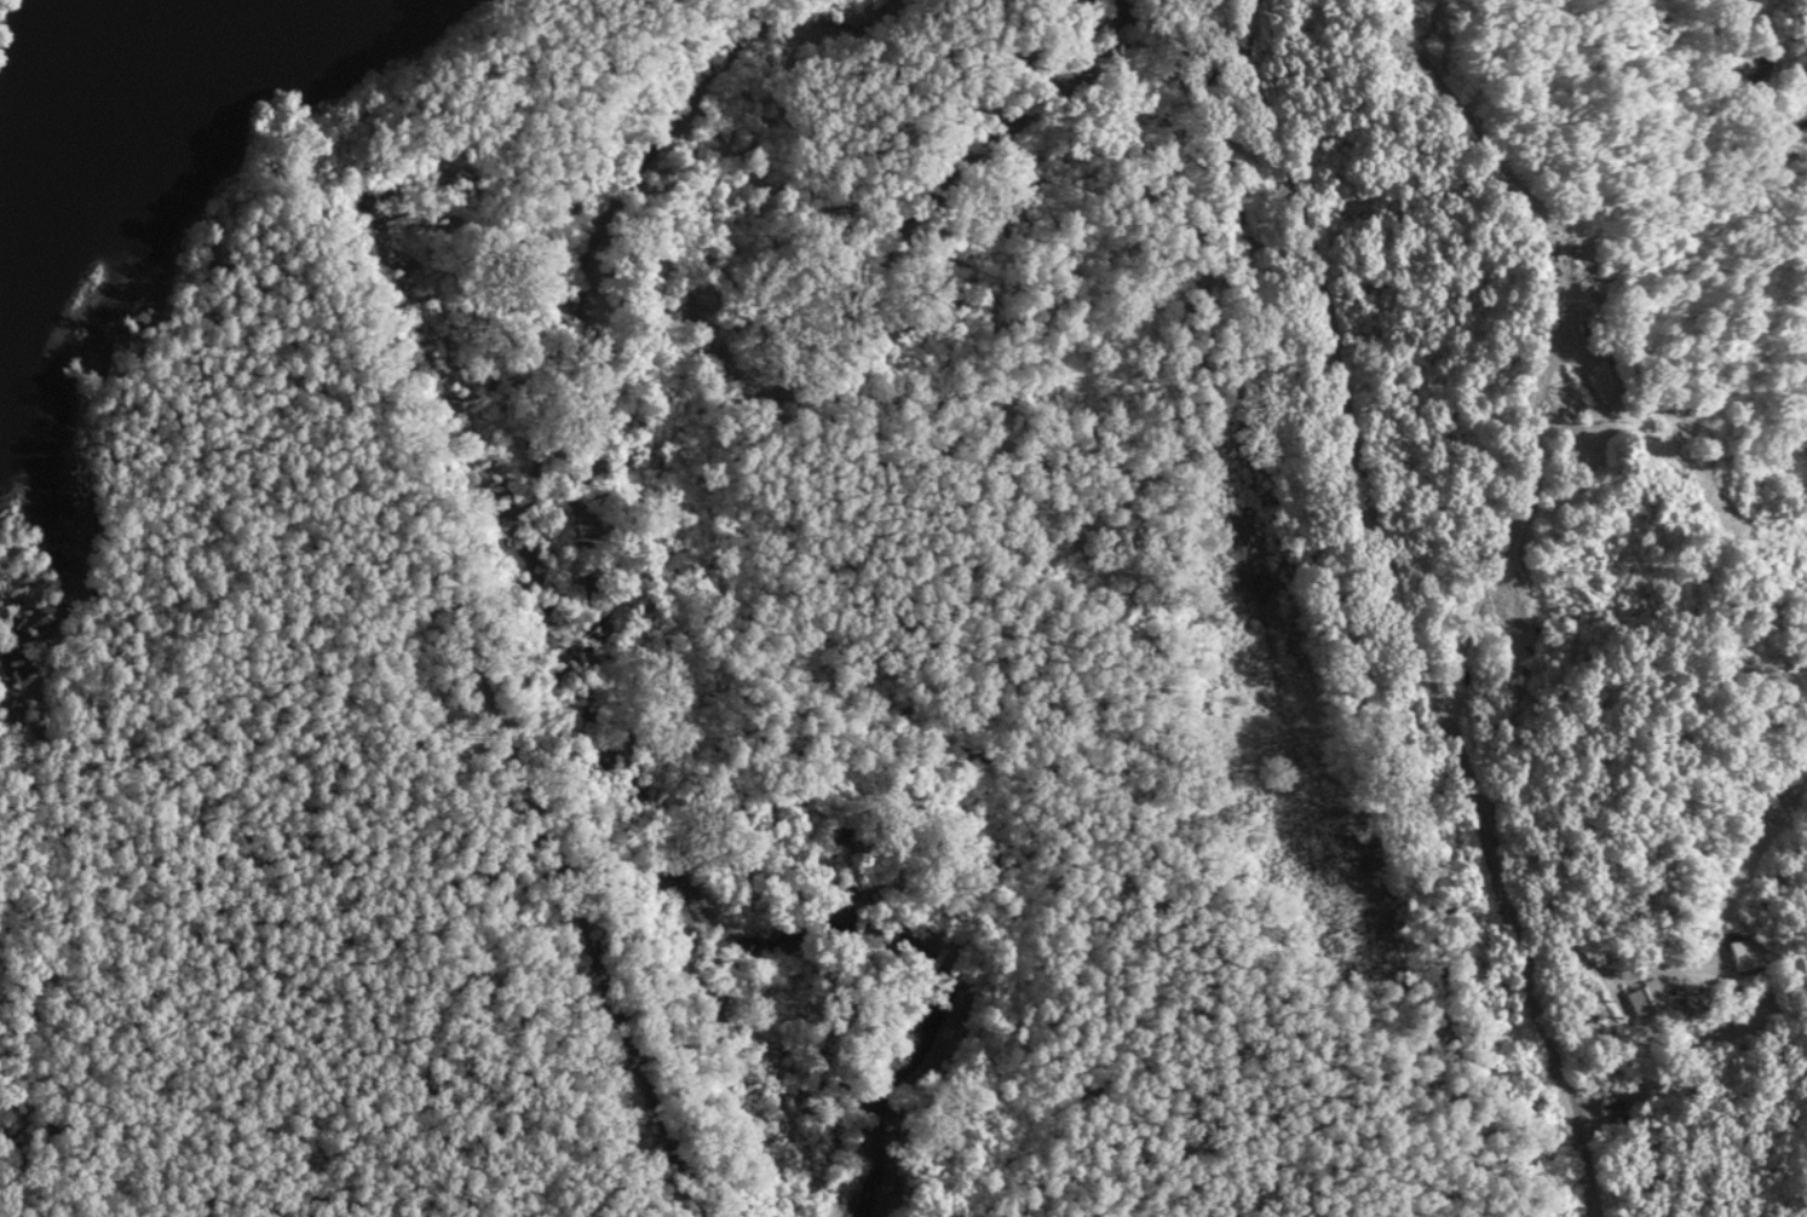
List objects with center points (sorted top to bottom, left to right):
road: (1543, 375)
building: (1607, 381)
road: (1669, 467)
road: (1392, 613)
building: (1746, 954)
road: (1594, 969)
building: (1644, 999)

